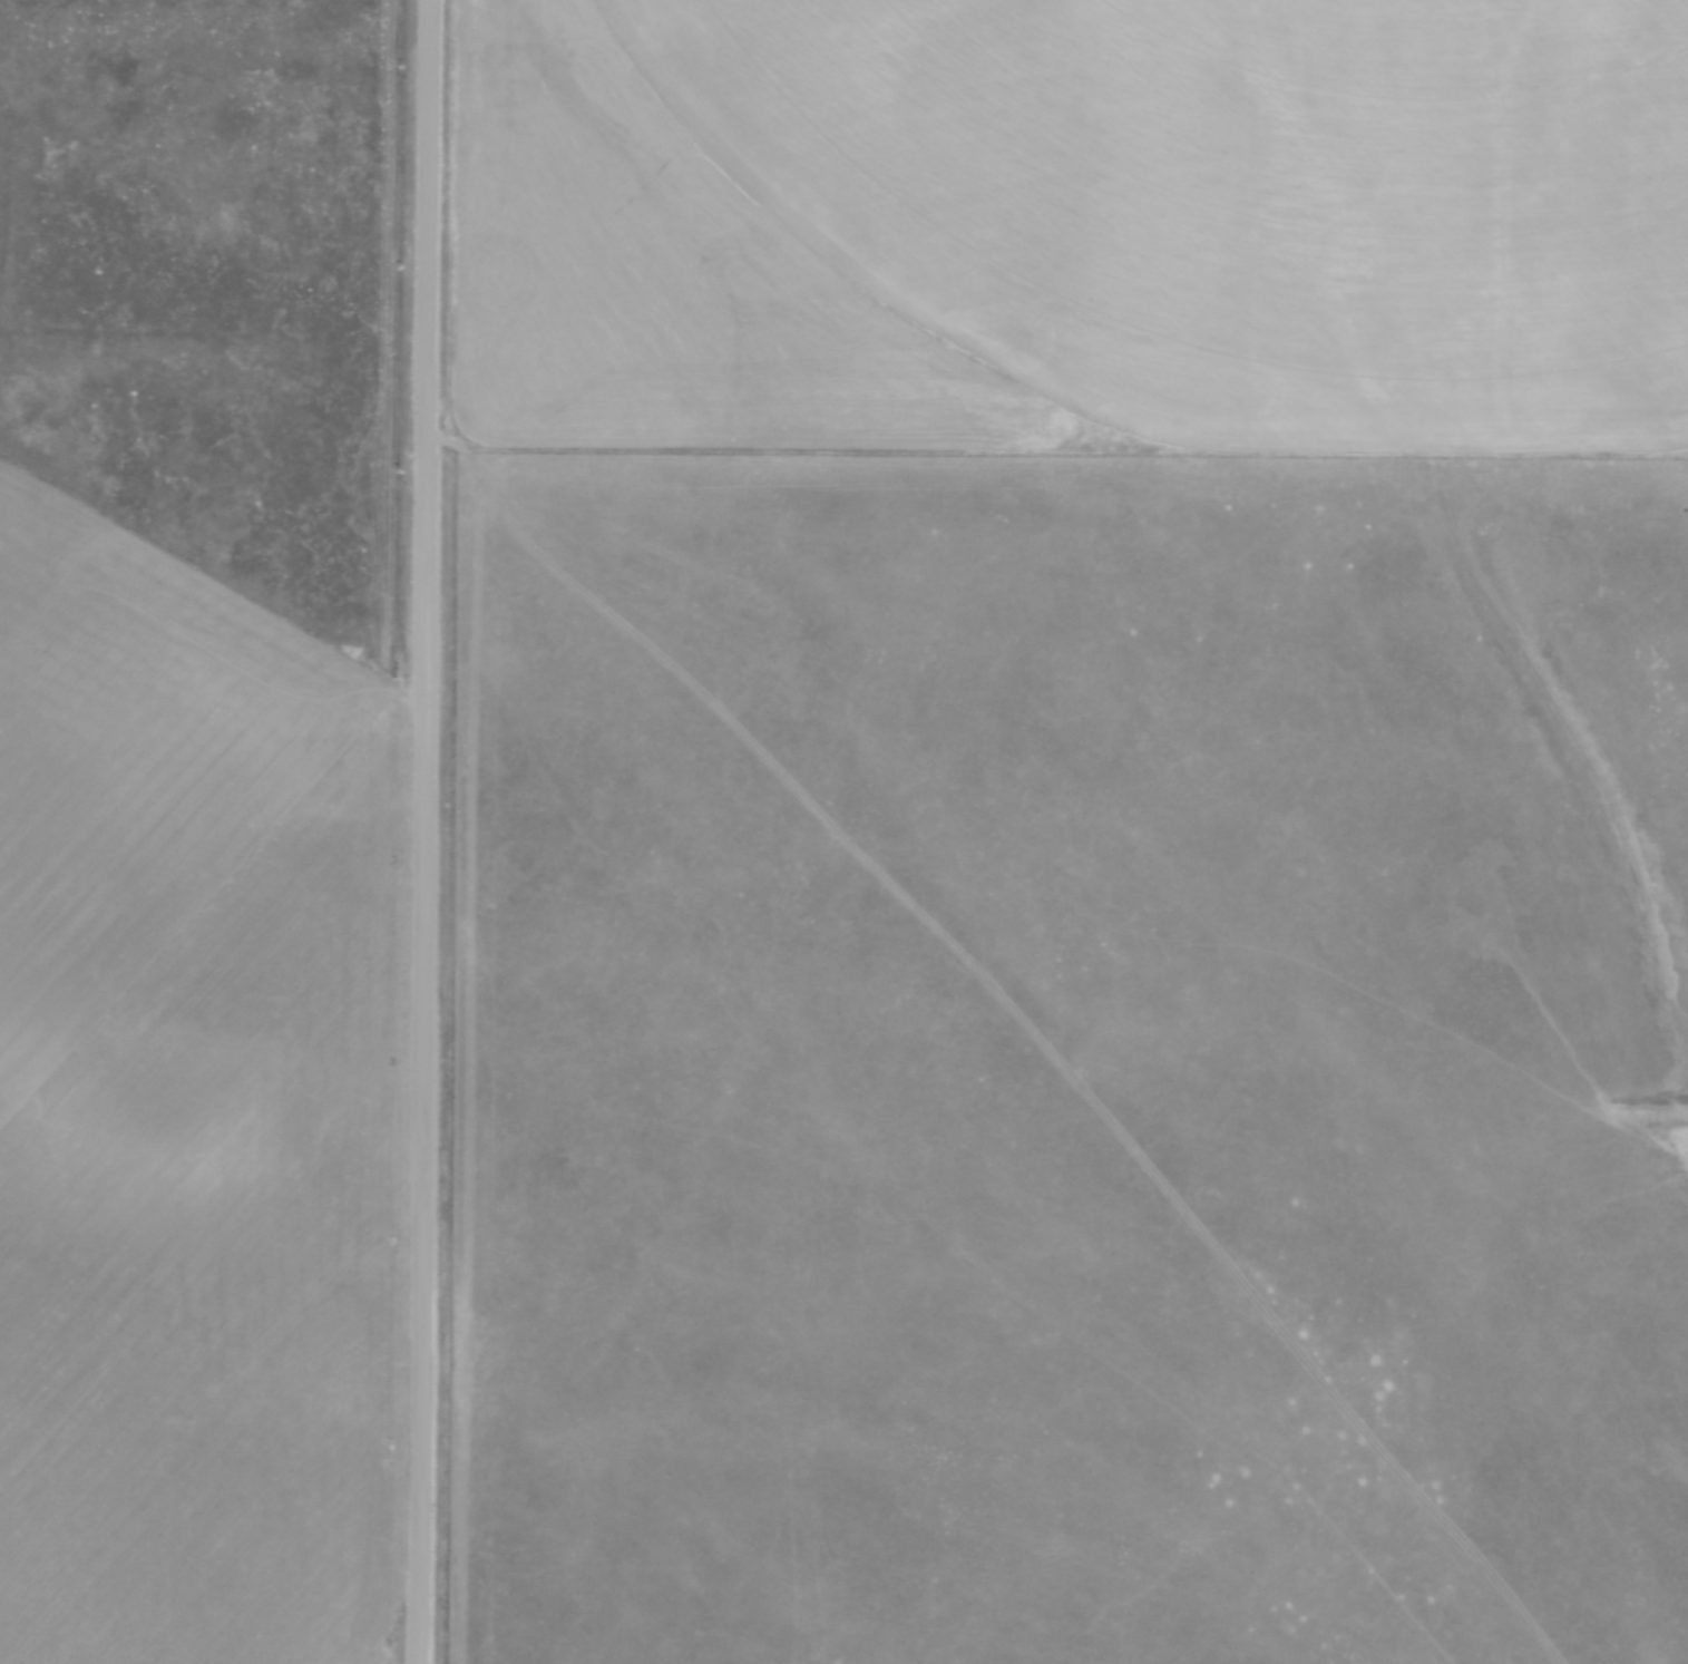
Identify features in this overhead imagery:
crop: (1072, 225)
road: (428, 831)
crop: (189, 1112)

